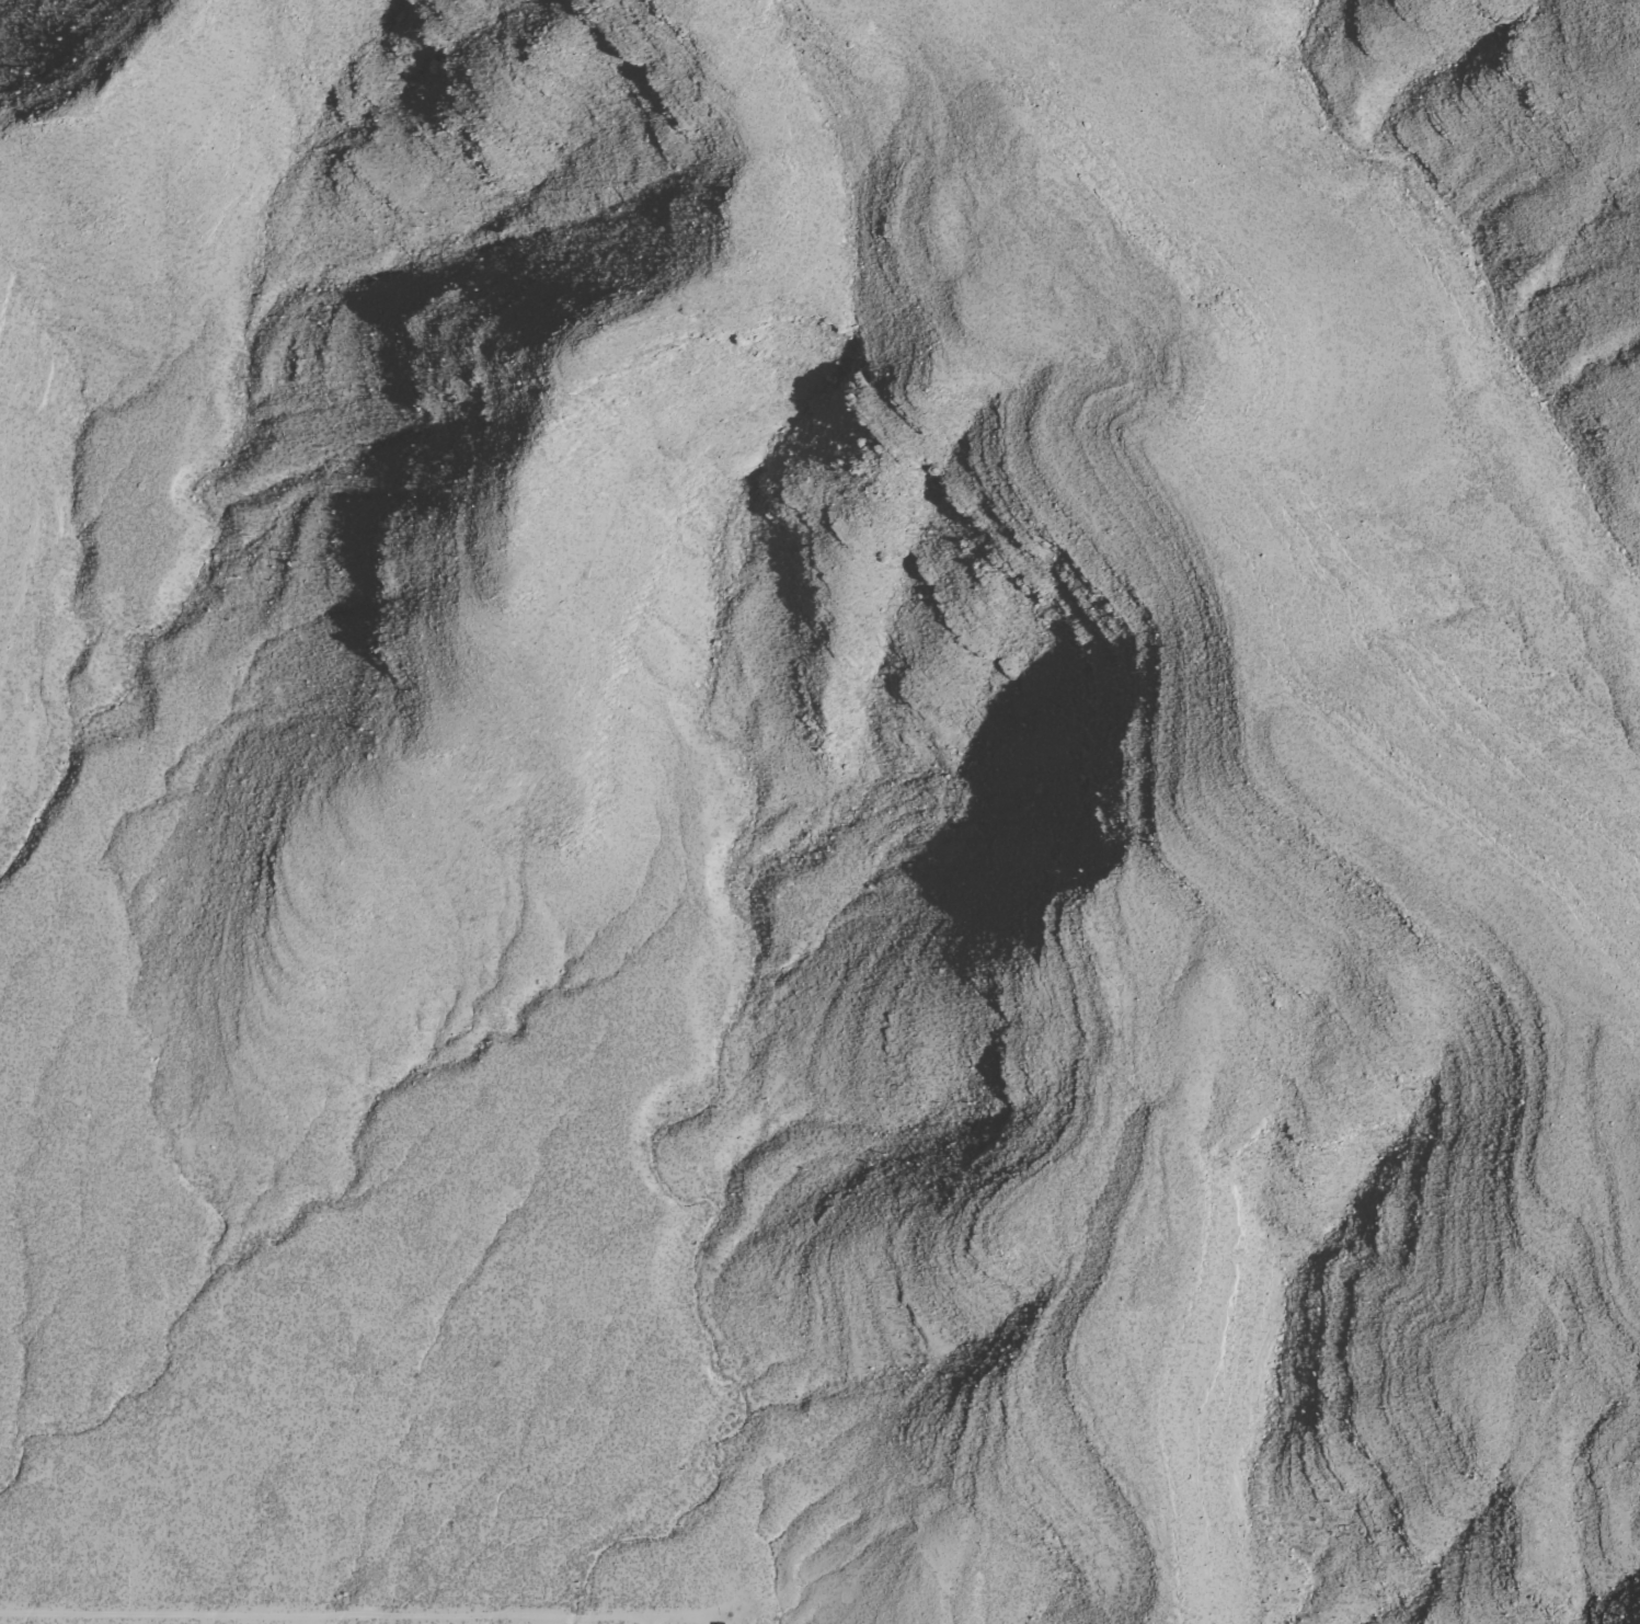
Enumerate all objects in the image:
road: (369, 1620)
road: (646, 1621)
road: (137, 1622)
road: (309, 1622)
road: (478, 1622)

